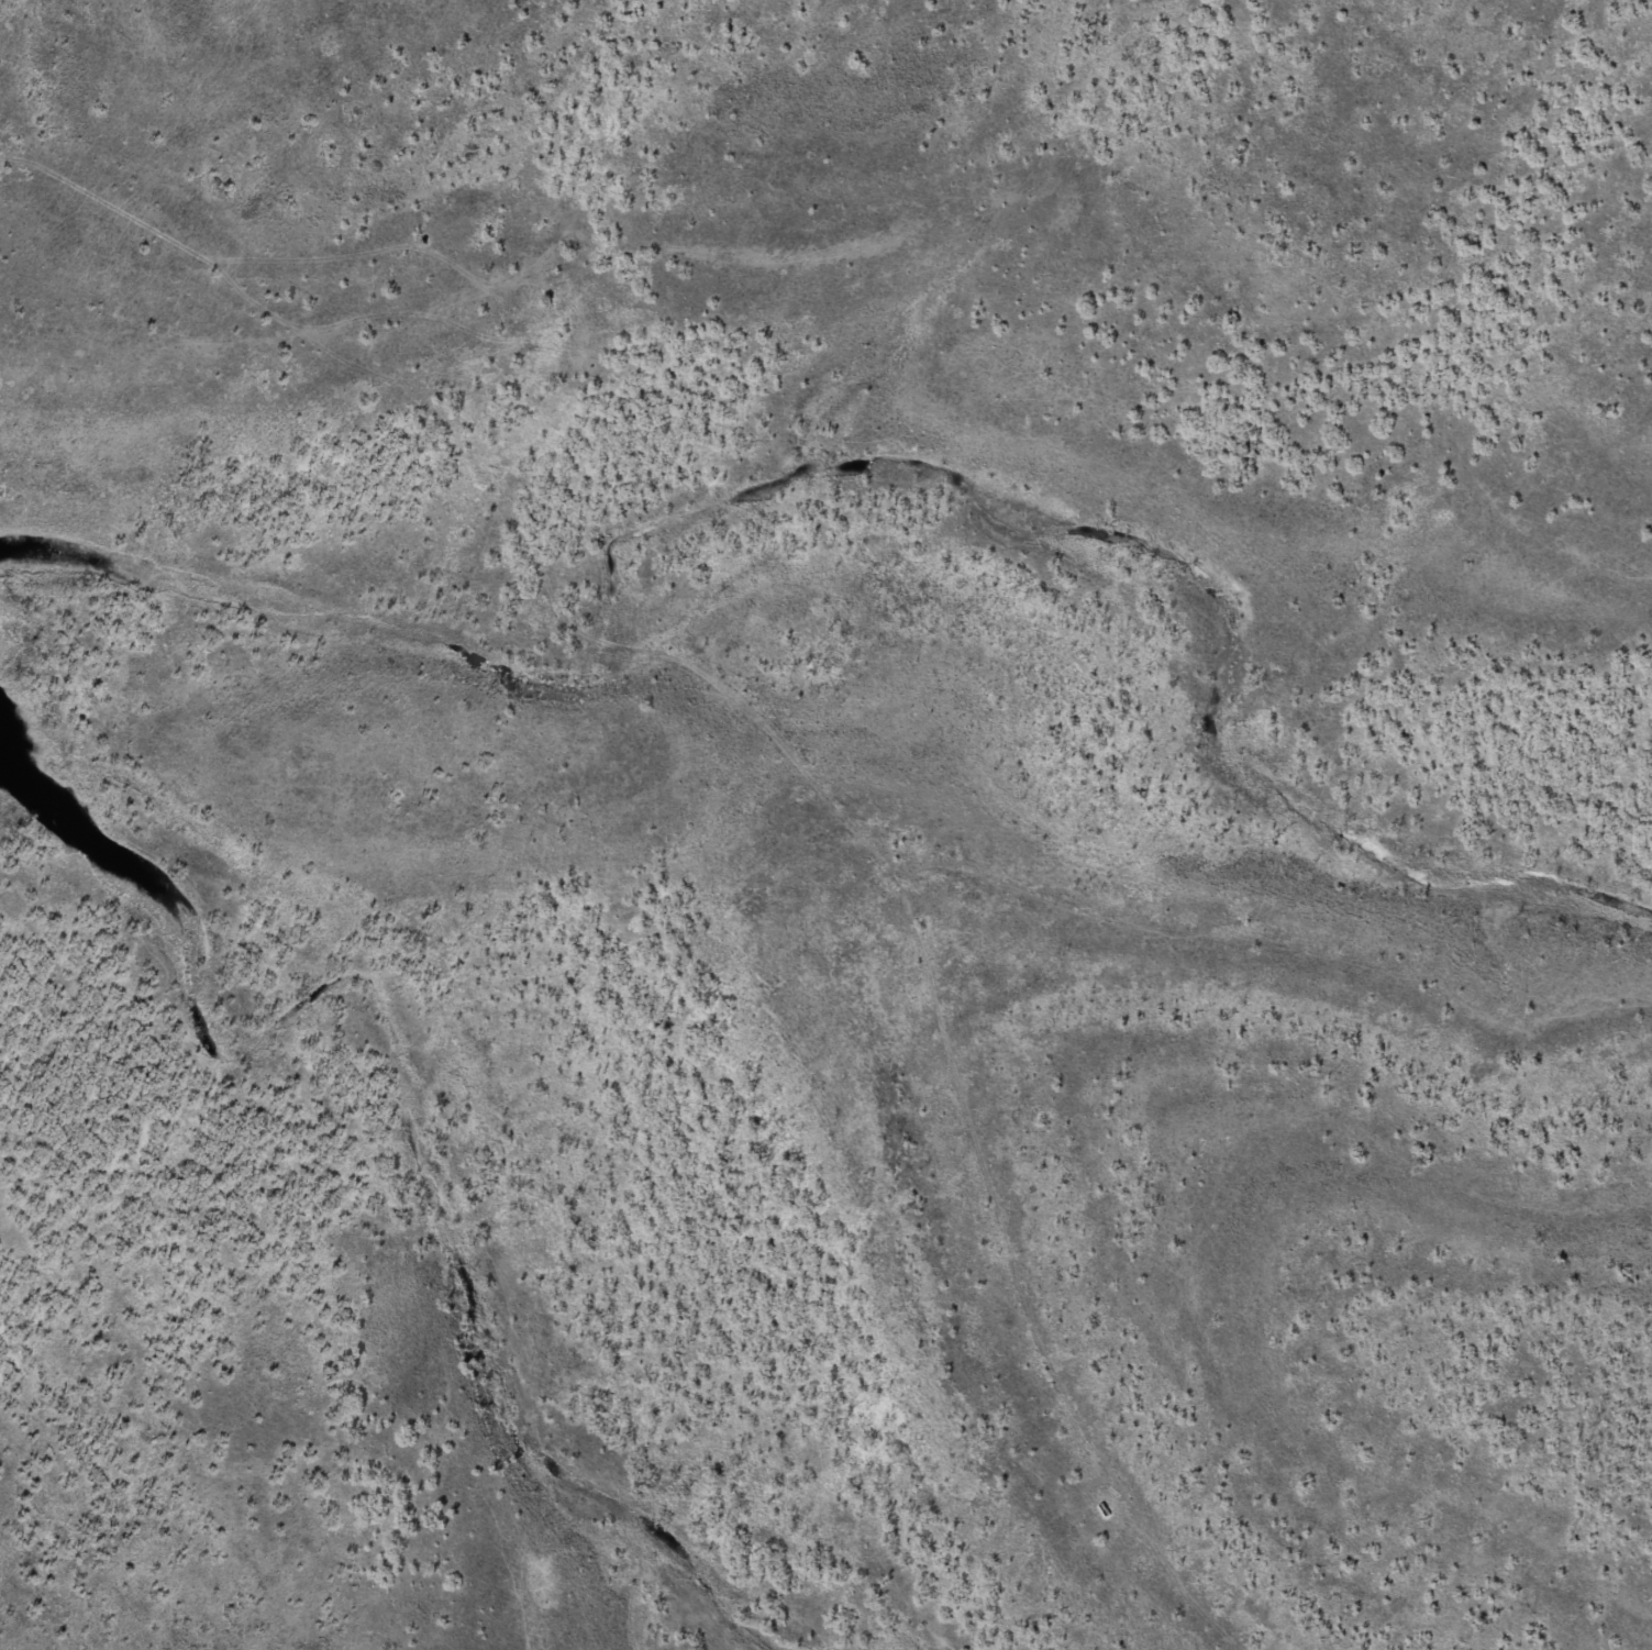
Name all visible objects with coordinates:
road: (784, 743)

